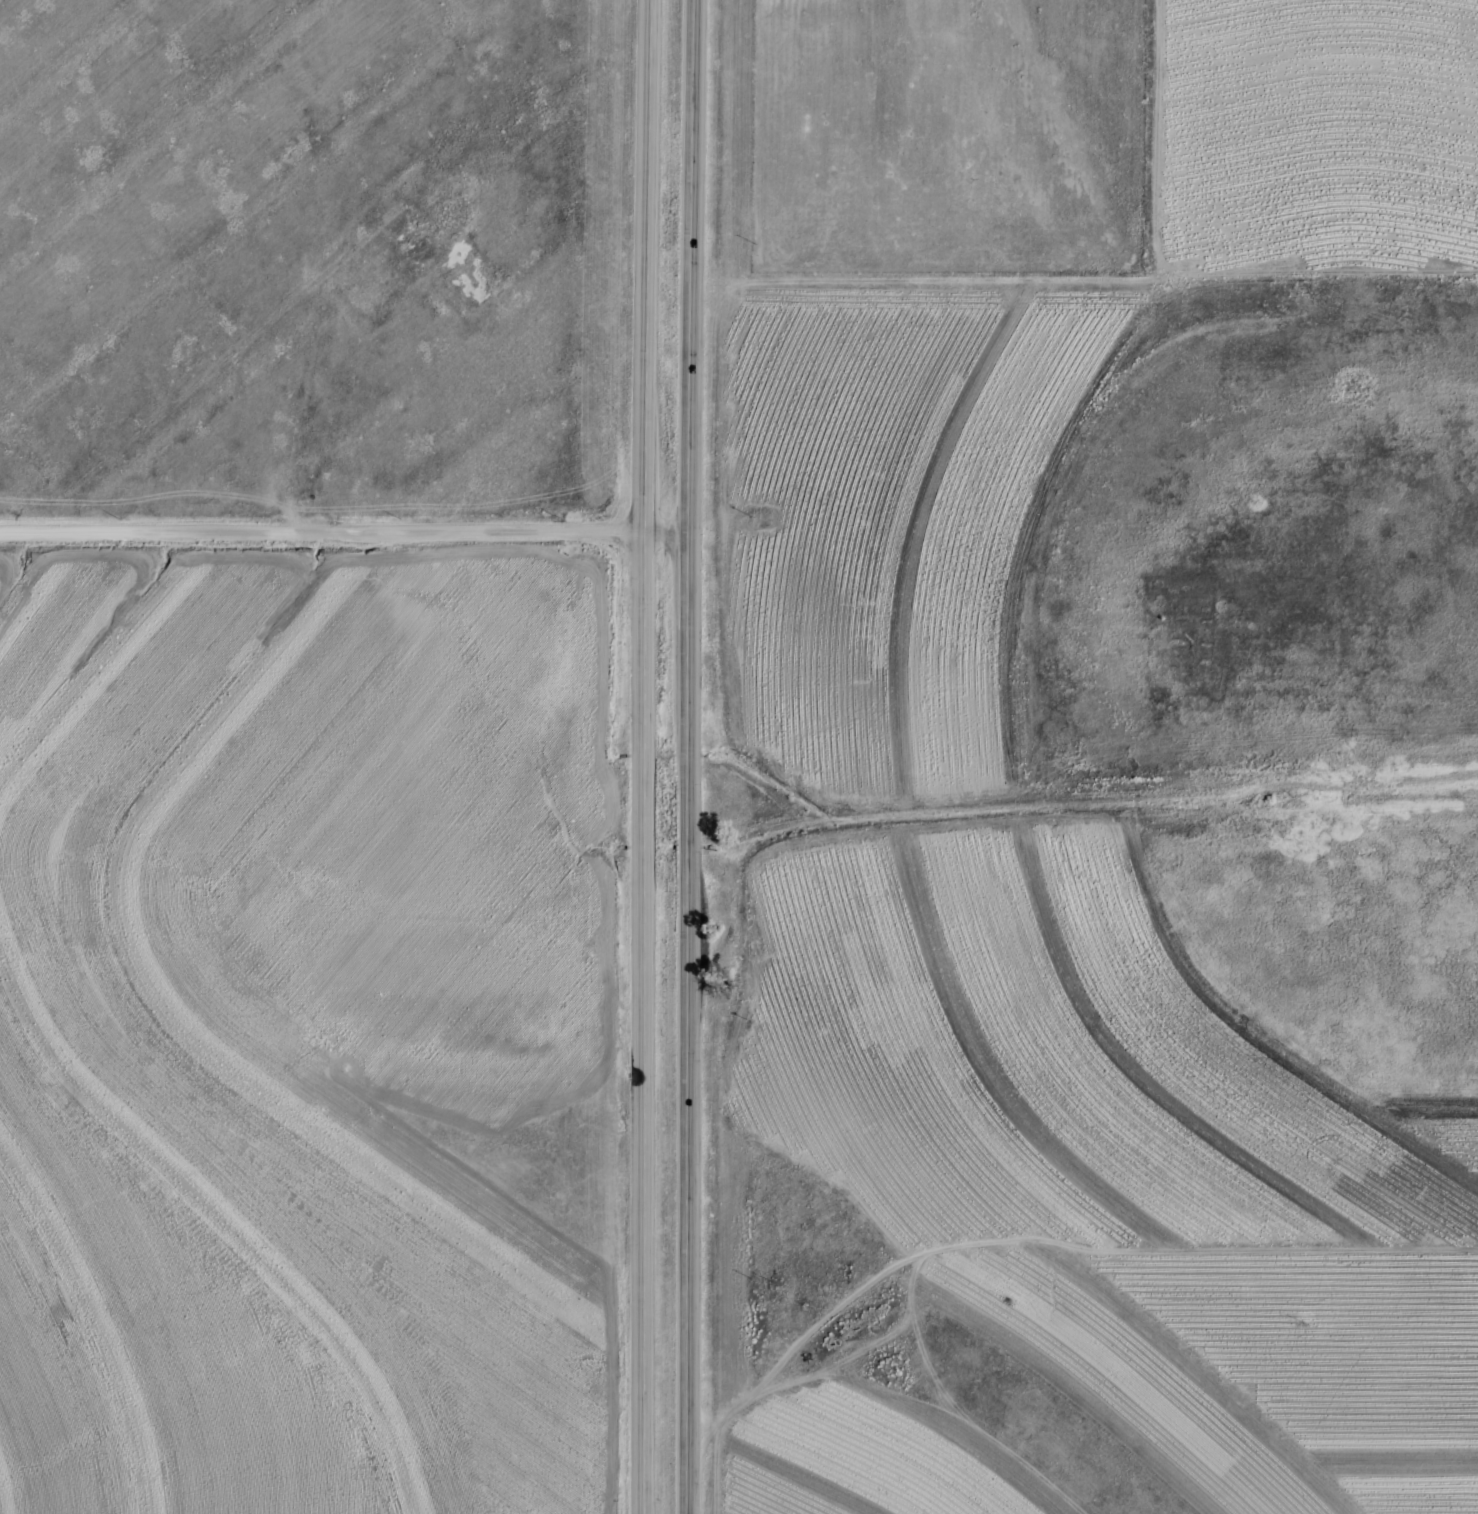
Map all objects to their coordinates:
road: (322, 539)
road: (646, 756)
road: (694, 756)

